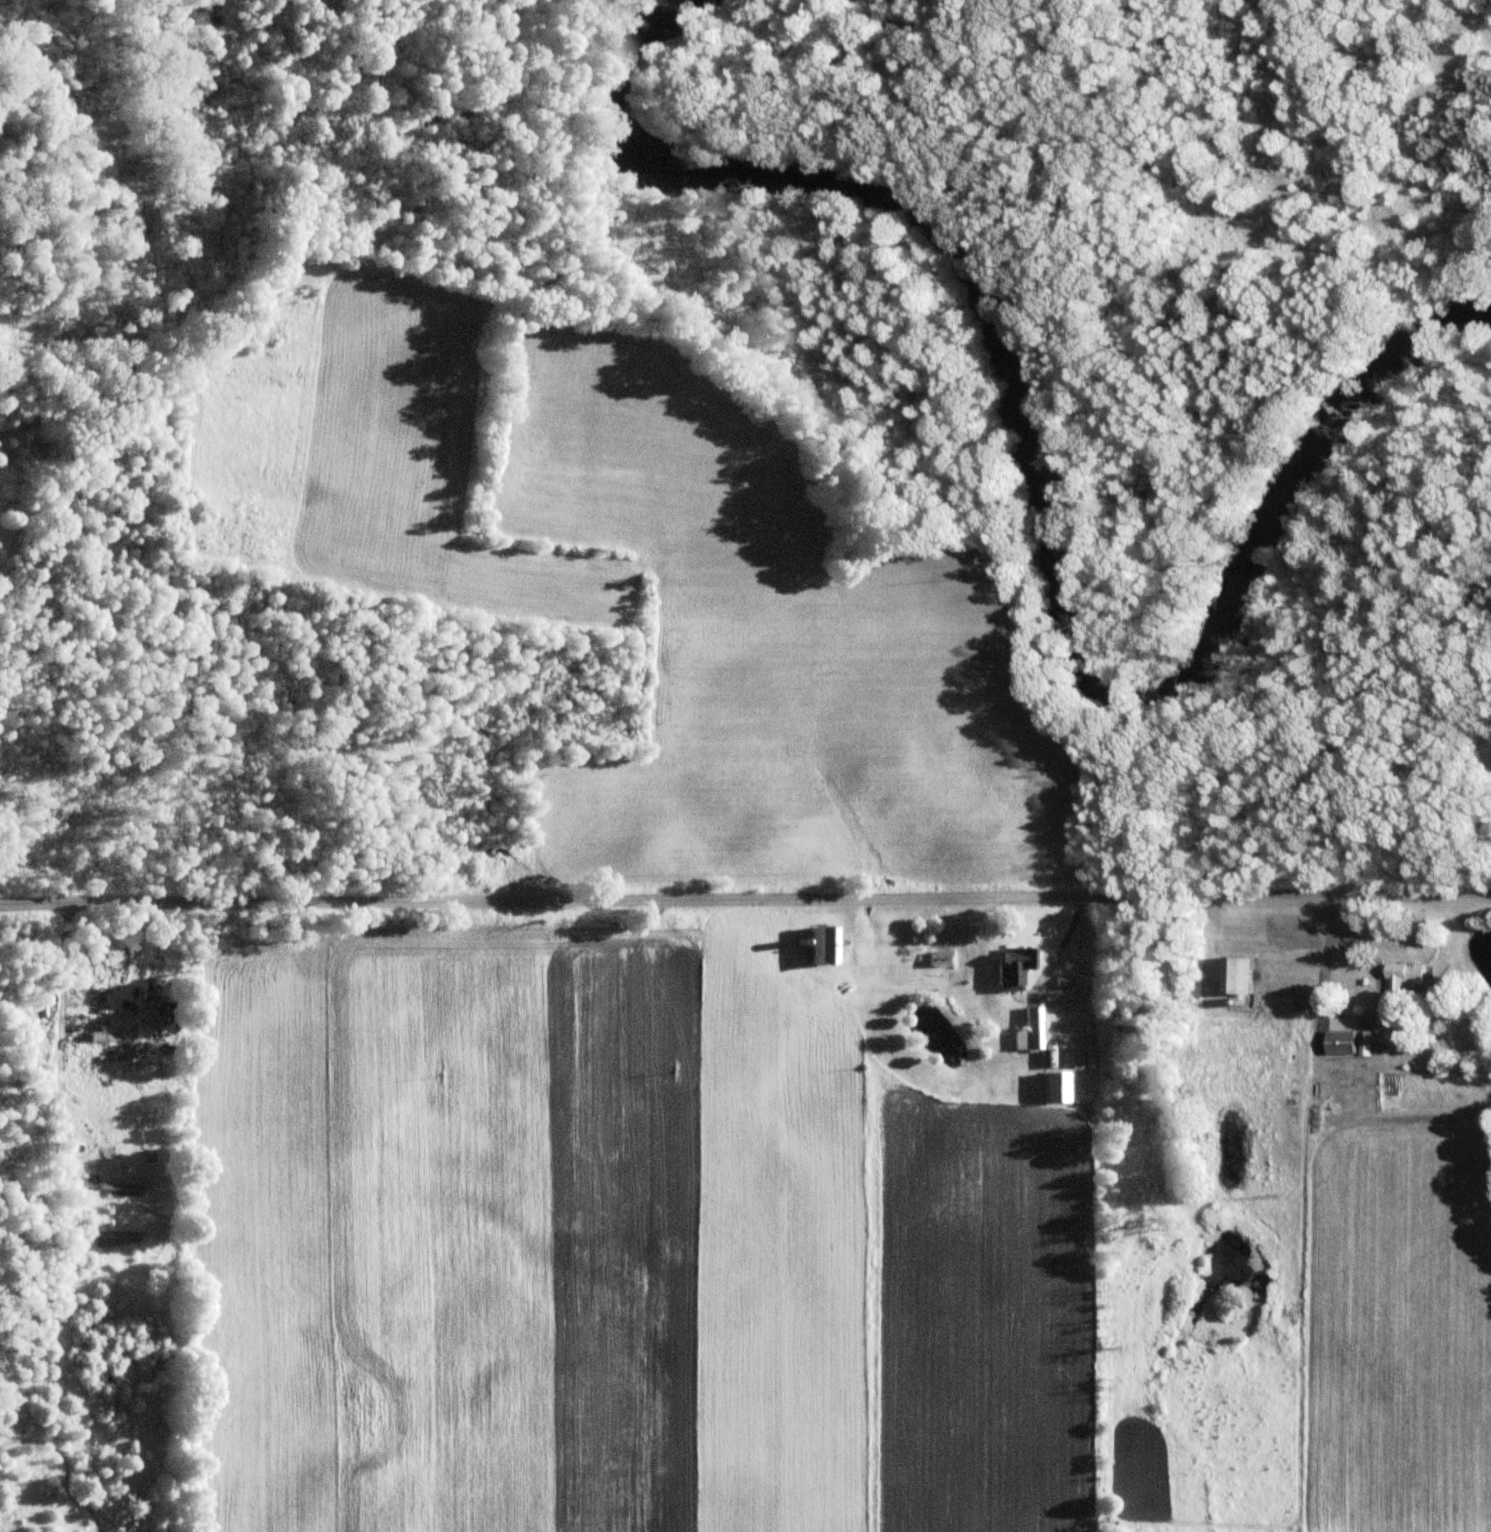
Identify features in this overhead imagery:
river: (1037, 495)
road: (745, 903)
building: (825, 946)
building: (940, 959)
building: (1021, 960)
building: (1245, 975)
building: (1409, 978)
road: (1060, 1011)
road: (1373, 1011)
building: (1031, 1032)
building: (113, 1036)
building: (1351, 1042)
building: (1058, 1088)
building: (120, 1191)

